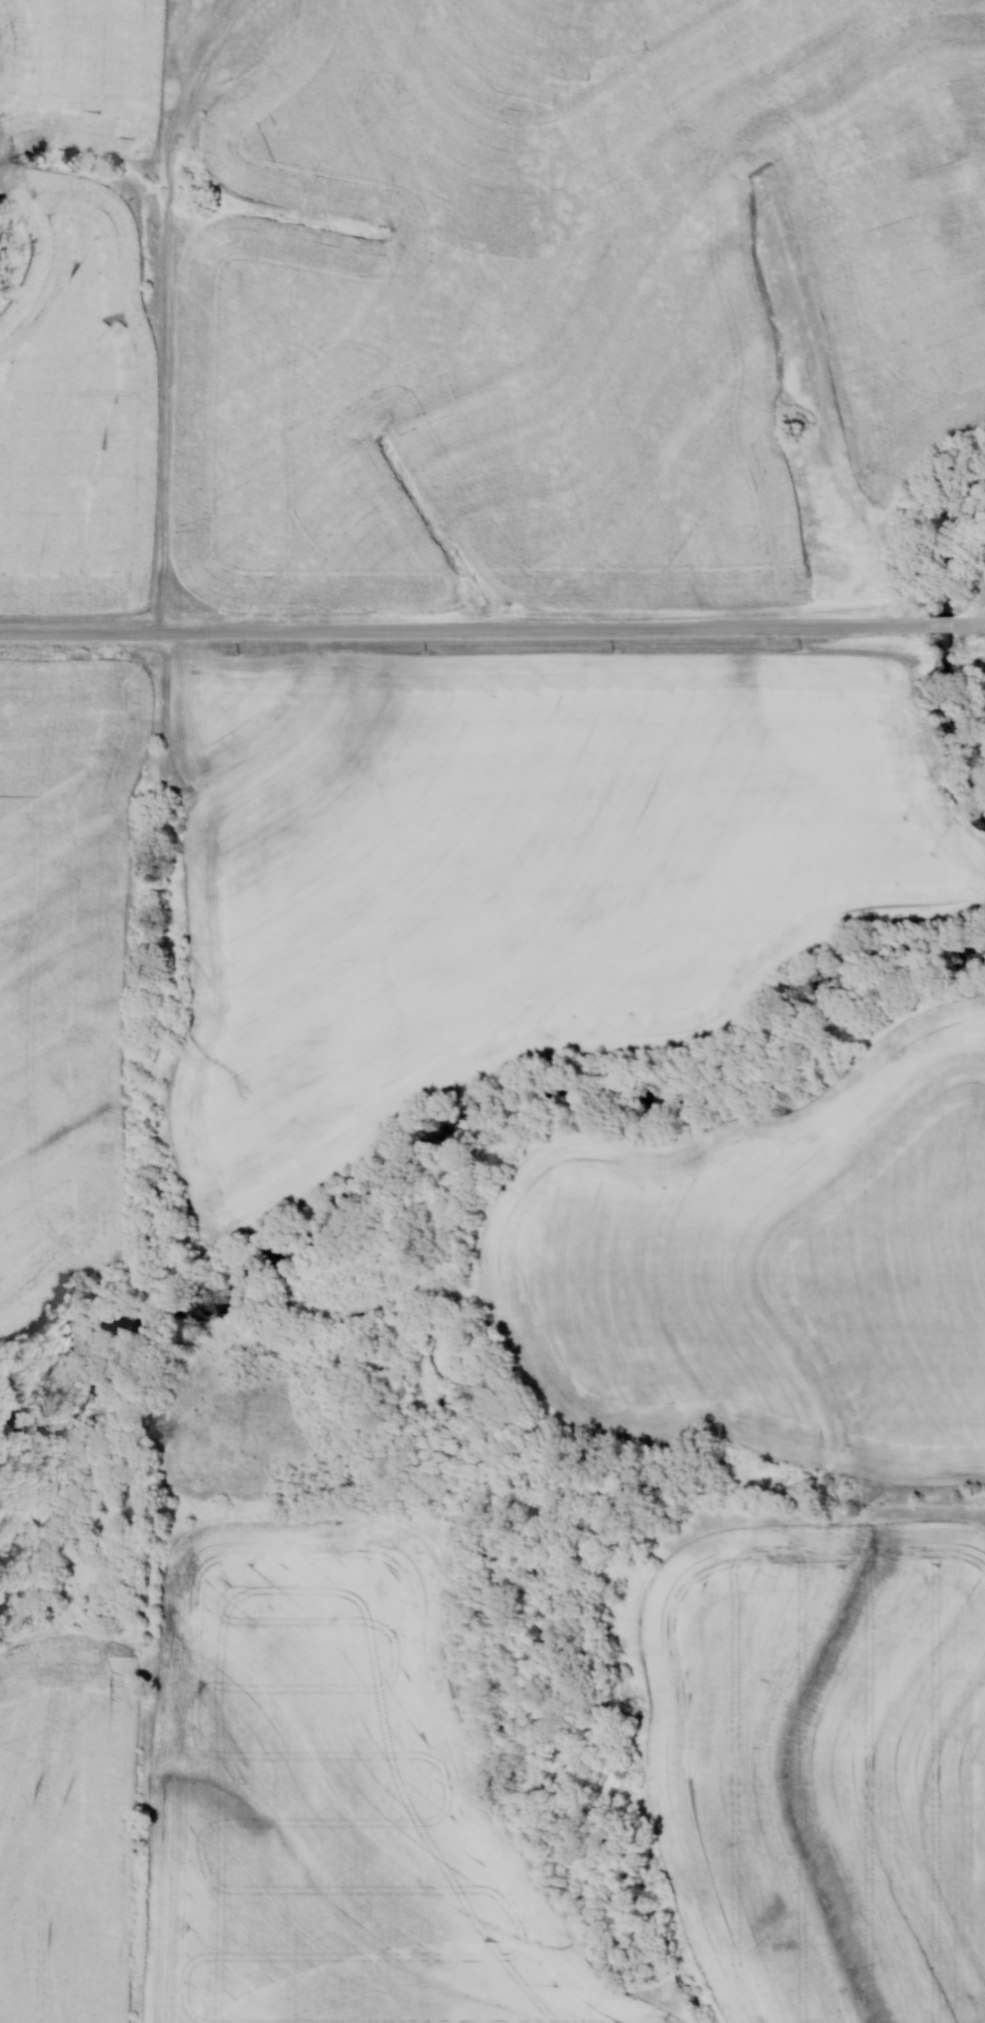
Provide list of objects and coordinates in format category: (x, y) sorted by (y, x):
road: (167, 310)
road: (492, 633)

